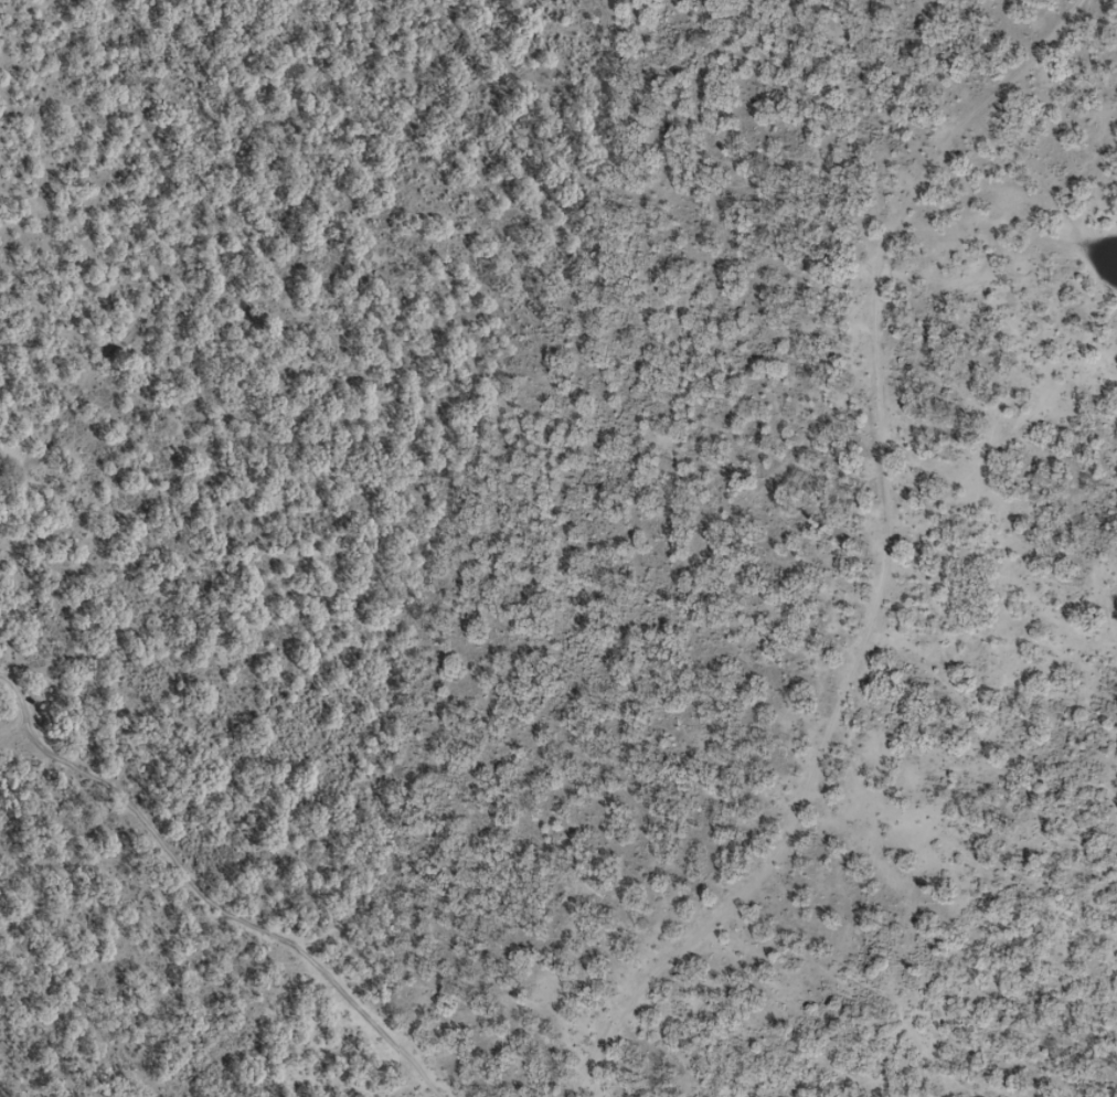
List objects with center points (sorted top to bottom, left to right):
road: (882, 560)

